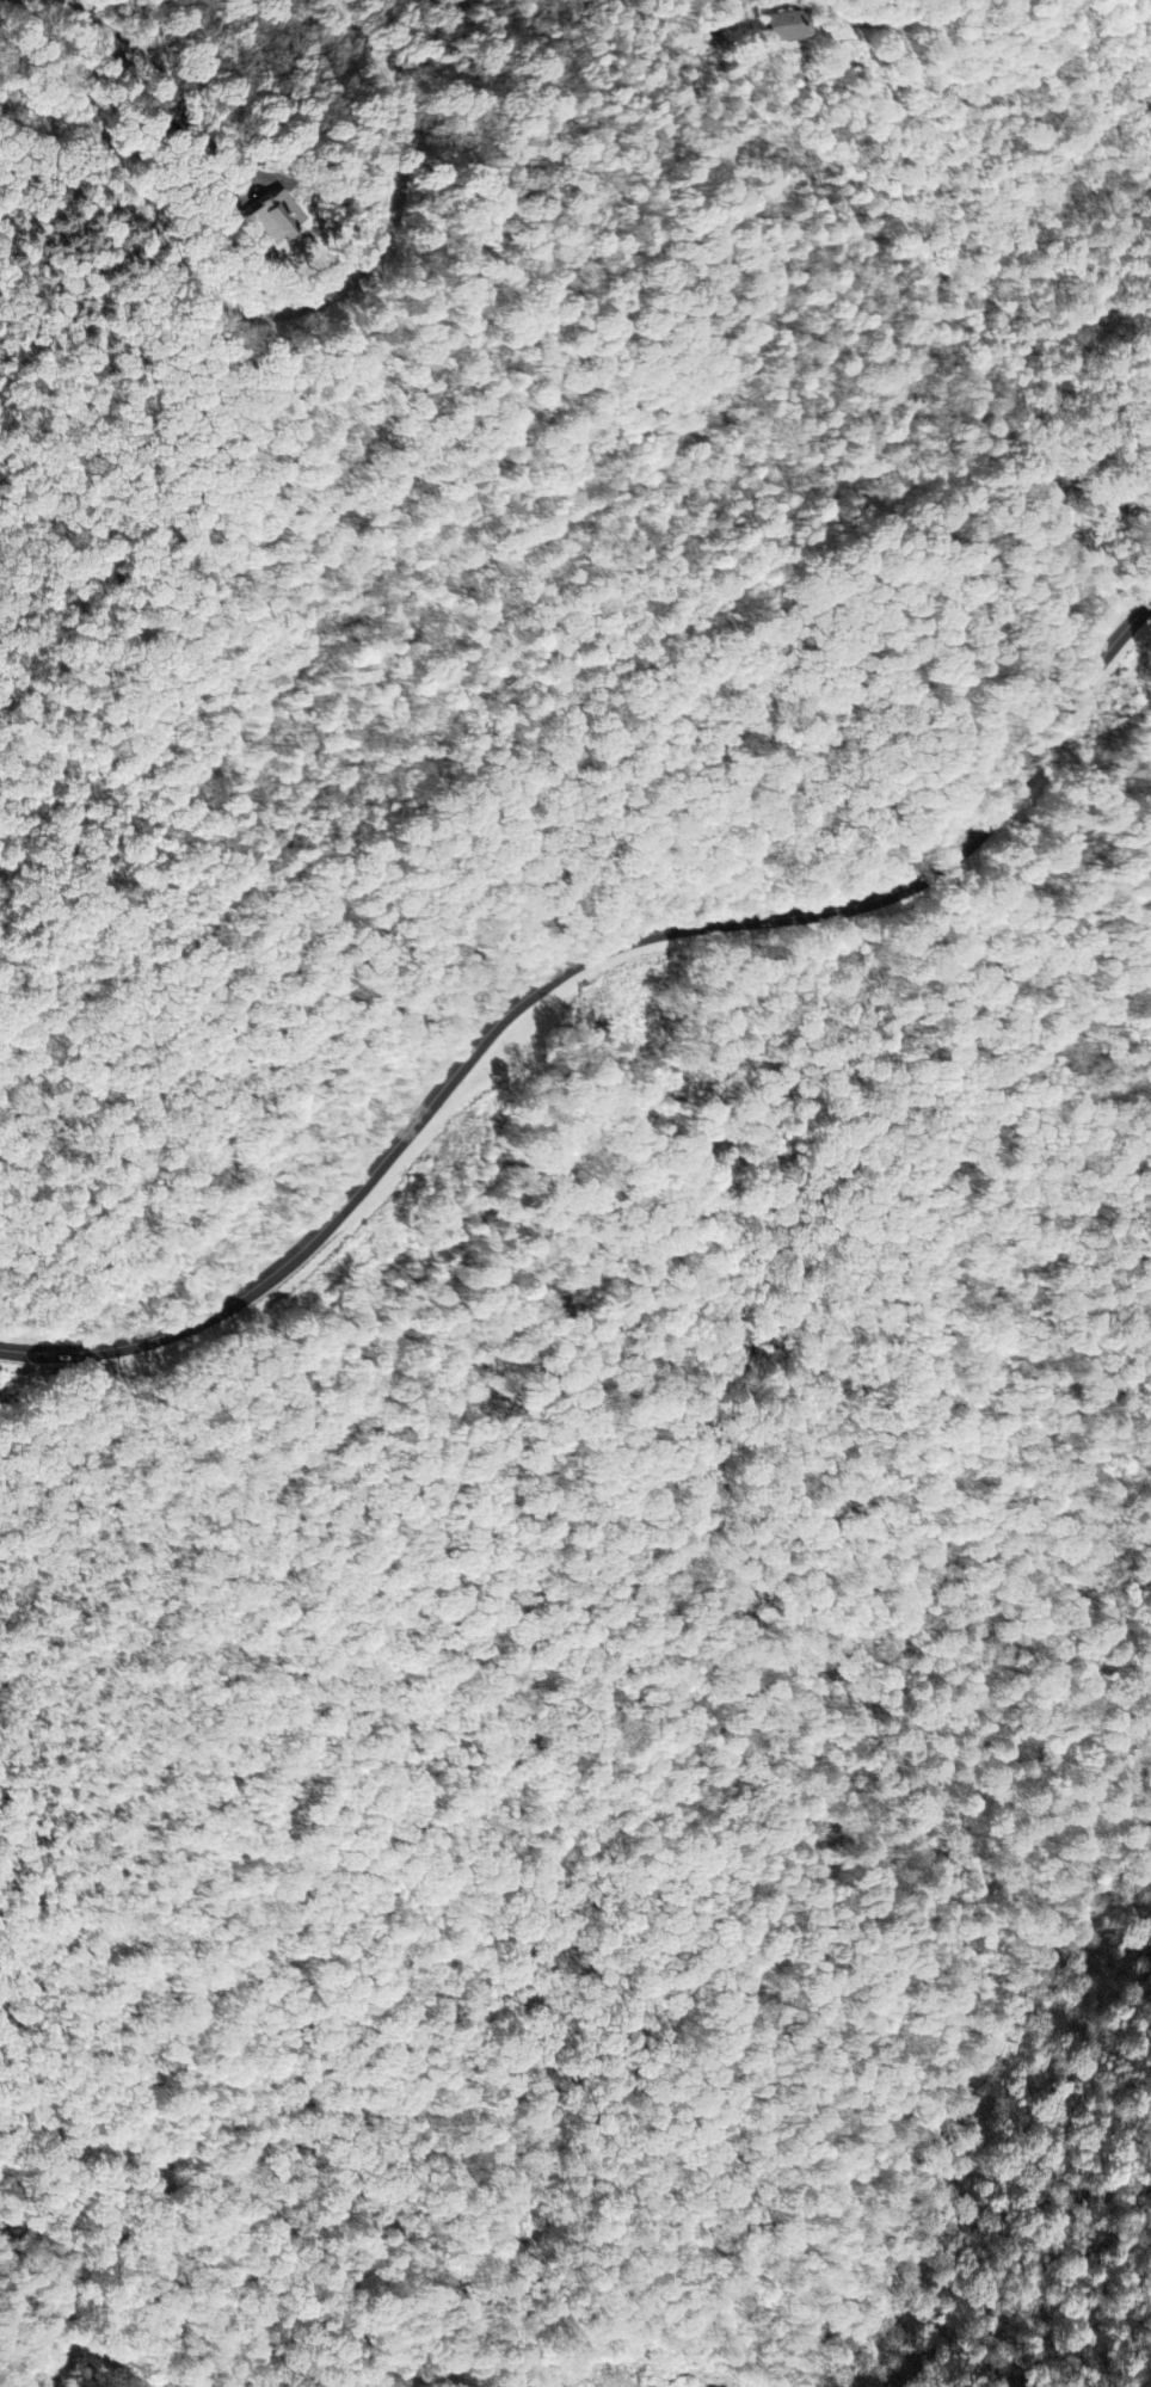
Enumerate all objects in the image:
building: (789, 29)
road: (53, 118)
road: (275, 315)
road: (608, 802)
road: (573, 965)

